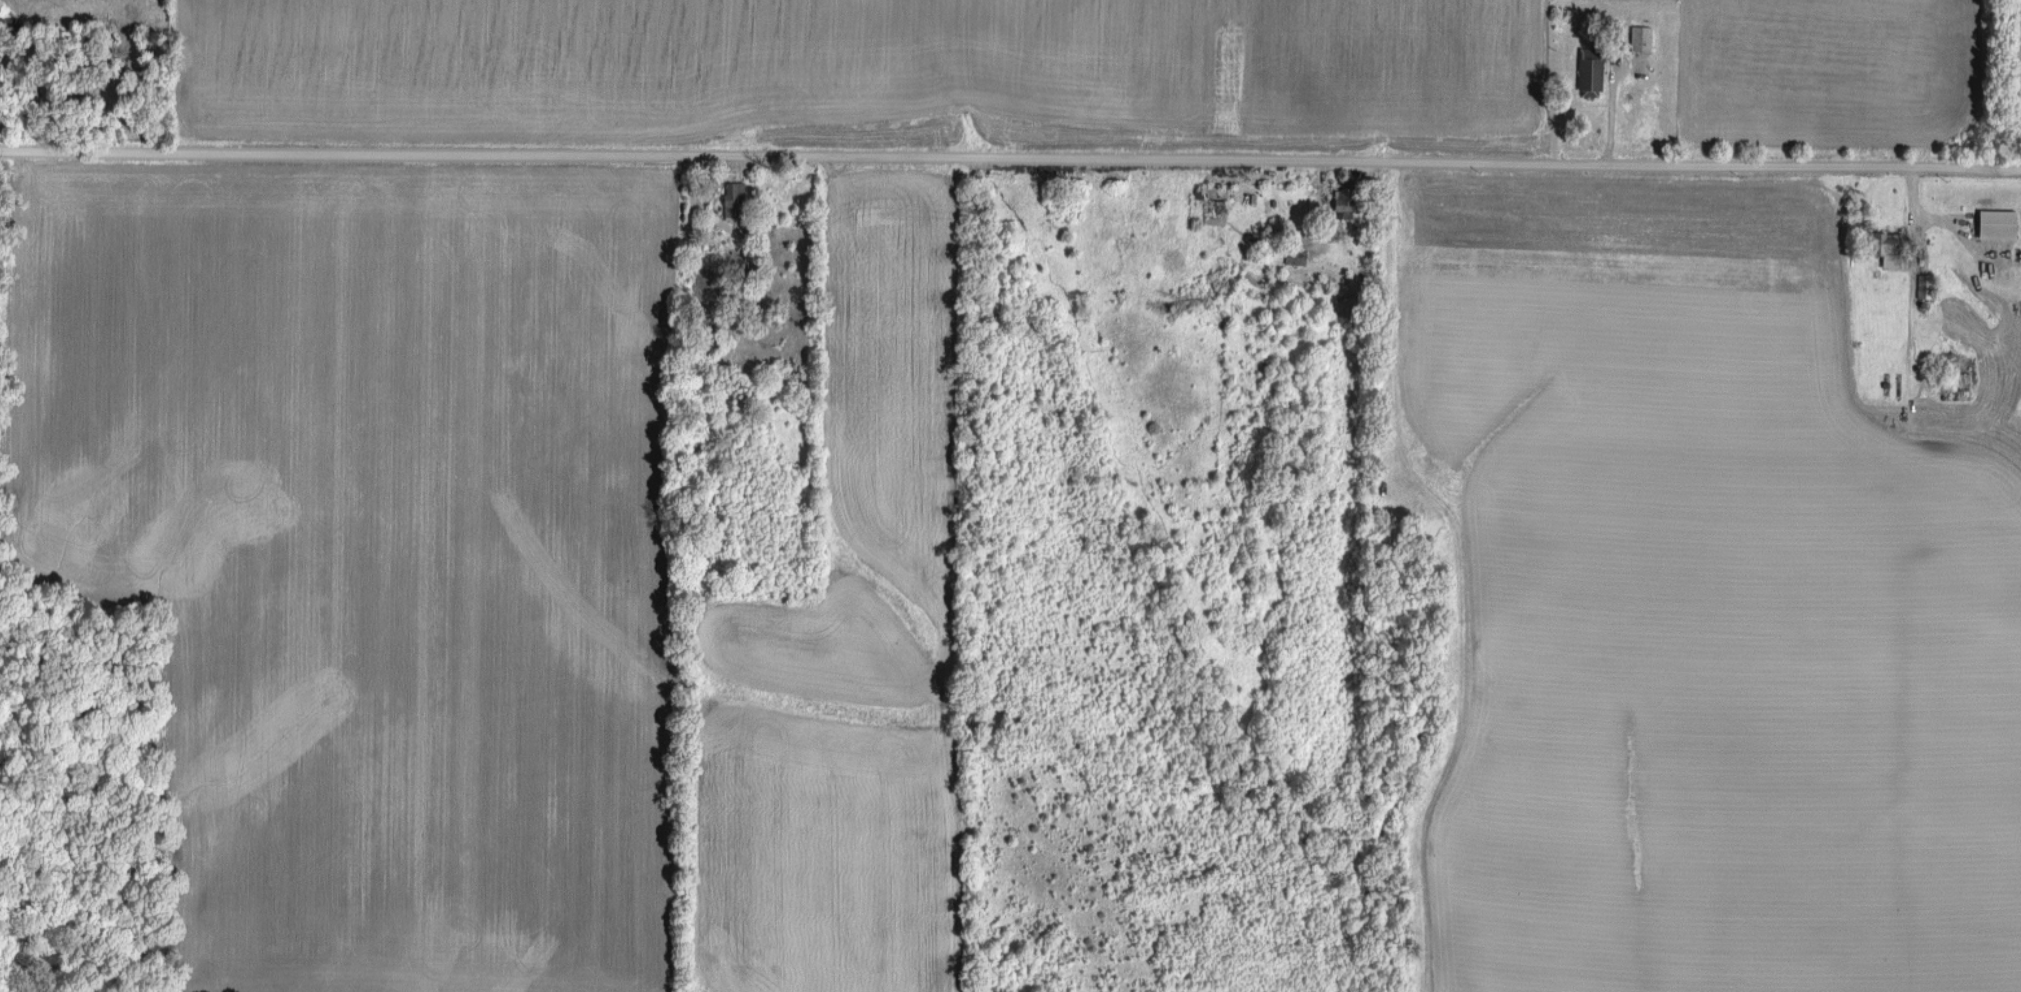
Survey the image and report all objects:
building: (1636, 40)
road: (1611, 98)
road: (1010, 145)
road: (1324, 180)
building: (731, 193)
road: (1914, 200)
road: (1957, 204)
road: (1950, 210)
road: (692, 216)
building: (1992, 224)

